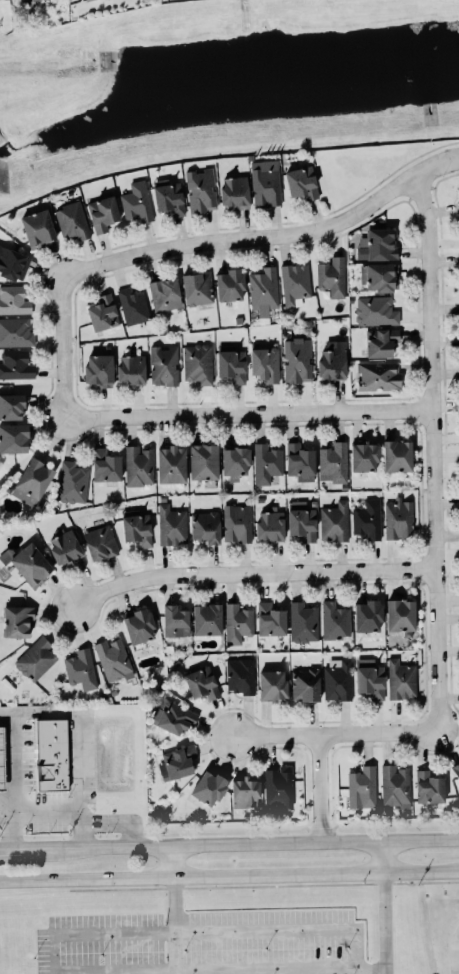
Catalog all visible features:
building: (38, 0)
building: (83, 0)
river: (225, 89)
building: (266, 182)
building: (302, 182)
road: (436, 182)
building: (201, 190)
building: (458, 190)
building: (235, 192)
building: (168, 197)
building: (137, 201)
building: (103, 213)
building: (72, 221)
building: (38, 228)
road: (269, 238)
building: (377, 245)
building: (13, 263)
building: (332, 276)
building: (378, 277)
building: (295, 283)
building: (230, 285)
building: (197, 288)
building: (264, 290)
building: (165, 294)
building: (14, 300)
building: (133, 306)
building: (376, 311)
building: (103, 313)
building: (16, 332)
building: (381, 341)
road: (64, 348)
building: (297, 360)
building: (333, 360)
building: (264, 362)
building: (198, 363)
building: (231, 363)
building: (16, 365)
building: (164, 365)
building: (131, 369)
building: (99, 371)
building: (378, 375)
building: (11, 406)
road: (253, 414)
building: (13, 438)
road: (435, 449)
building: (397, 455)
building: (364, 456)
building: (235, 460)
building: (203, 461)
building: (300, 462)
building: (333, 462)
building: (266, 463)
building: (171, 464)
building: (105, 465)
building: (139, 465)
building: (32, 481)
building: (73, 482)
building: (367, 519)
building: (398, 519)
building: (302, 521)
building: (334, 521)
building: (237, 523)
building: (172, 525)
building: (270, 525)
building: (137, 527)
building: (206, 527)
building: (100, 542)
building: (65, 547)
building: (28, 563)
road: (252, 571)
building: (400, 615)
building: (368, 616)
building: (207, 619)
building: (270, 619)
building: (17, 620)
building: (335, 620)
building: (175, 621)
building: (303, 622)
building: (238, 623)
building: (138, 625)
building: (36, 659)
building: (113, 659)
building: (81, 669)
building: (240, 675)
building: (370, 678)
building: (401, 679)
building: (338, 681)
building: (201, 683)
building: (272, 684)
building: (305, 685)
building: (174, 717)
road: (338, 732)
road: (80, 742)
building: (52, 754)
building: (2, 759)
road: (15, 761)
building: (177, 762)
building: (456, 769)
road: (321, 786)
building: (395, 786)
building: (278, 787)
building: (428, 787)
building: (208, 788)
building: (362, 788)
building: (245, 791)
road: (50, 807)
road: (17, 820)
road: (262, 841)
road: (32, 848)
road: (383, 856)
road: (172, 861)
road: (229, 875)
road: (174, 902)
road: (384, 920)
road: (287, 927)
road: (176, 950)
road: (48, 951)
road: (457, 954)
road: (371, 968)
road: (358, 971)
road: (385, 971)

